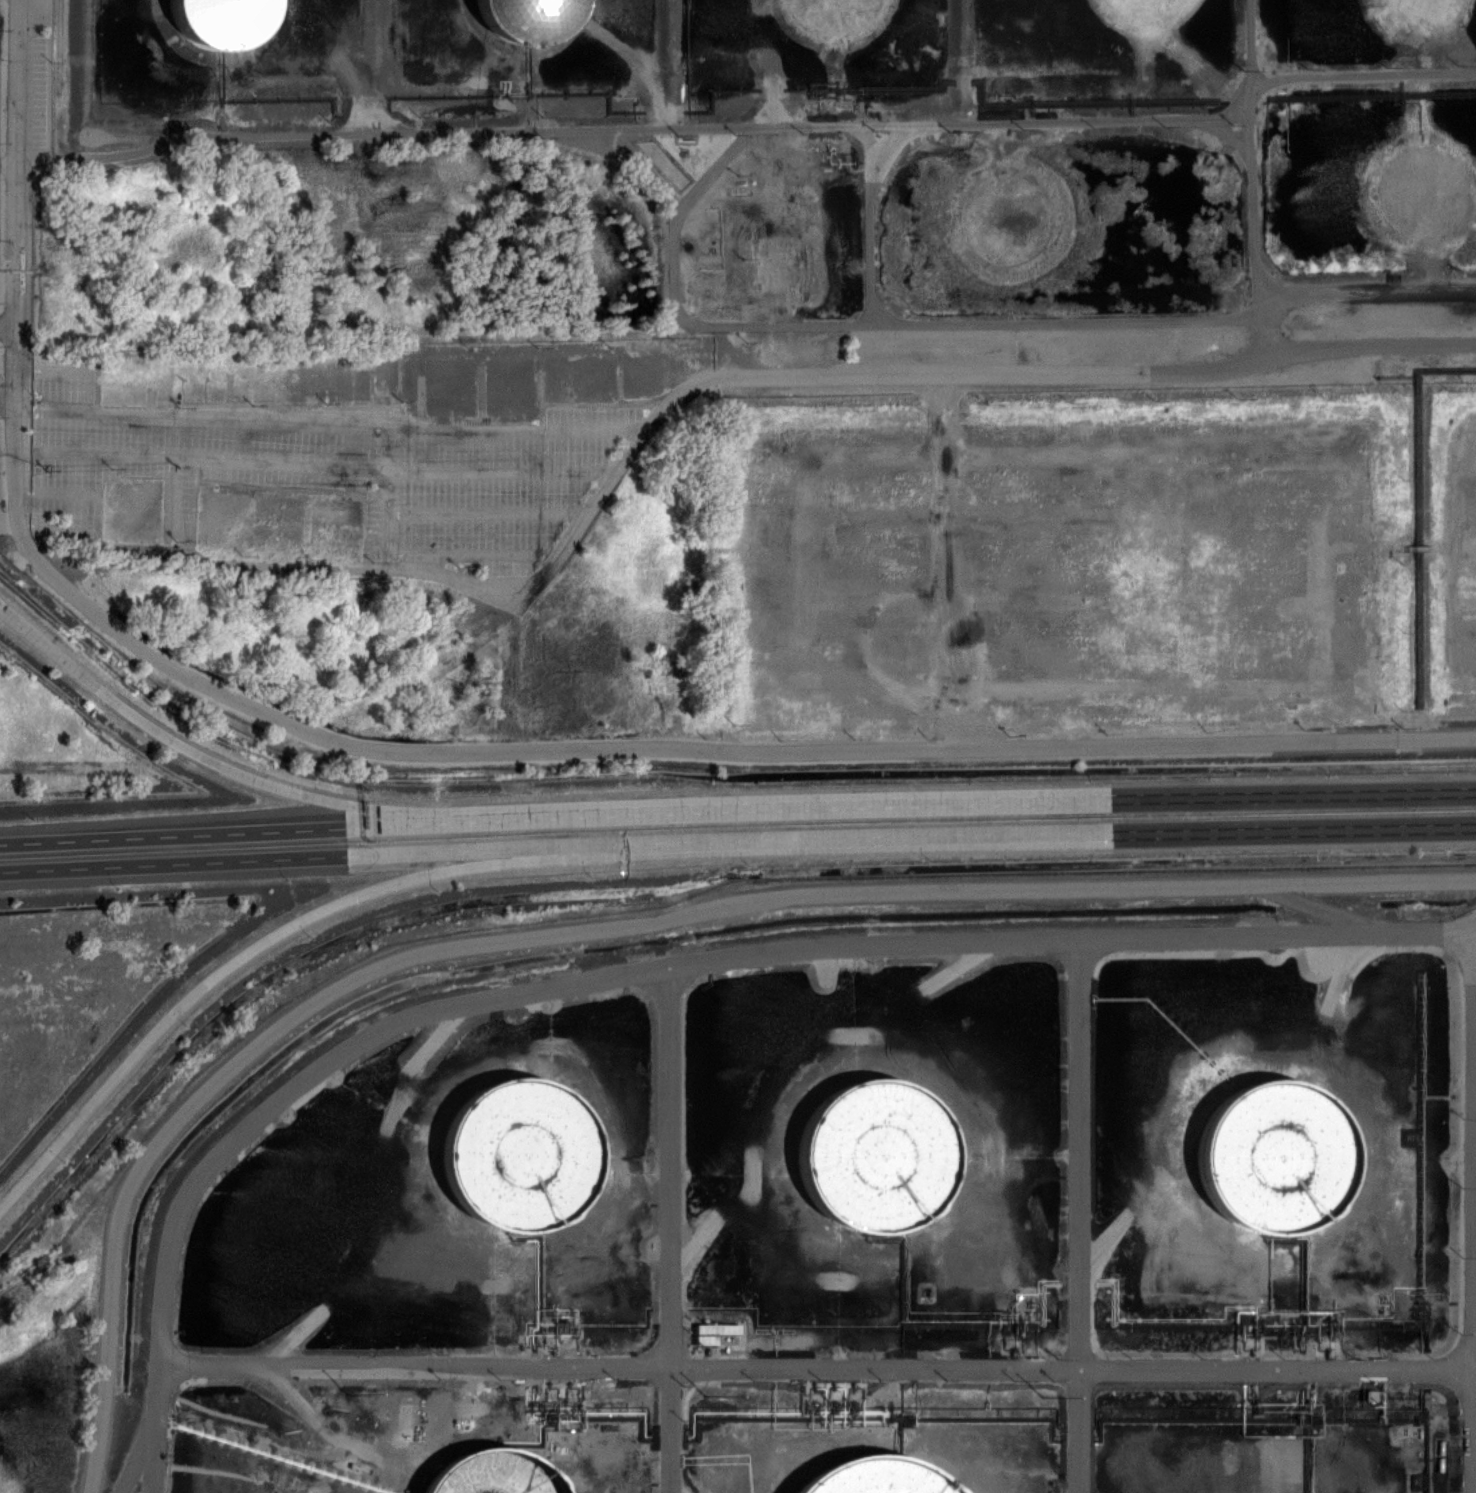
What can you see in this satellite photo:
building: (219, 21)
road: (1360, 79)
road: (22, 132)
road: (1248, 160)
road: (11, 161)
road: (18, 300)
road: (1343, 300)
road: (17, 361)
road: (754, 385)
road: (637, 746)
road: (234, 771)
road: (996, 801)
road: (259, 828)
road: (1033, 835)
road: (295, 858)
road: (250, 953)
building: (516, 1154)
building: (871, 1156)
building: (1270, 1156)
building: (709, 1332)
road: (140, 1427)
building: (869, 1478)

